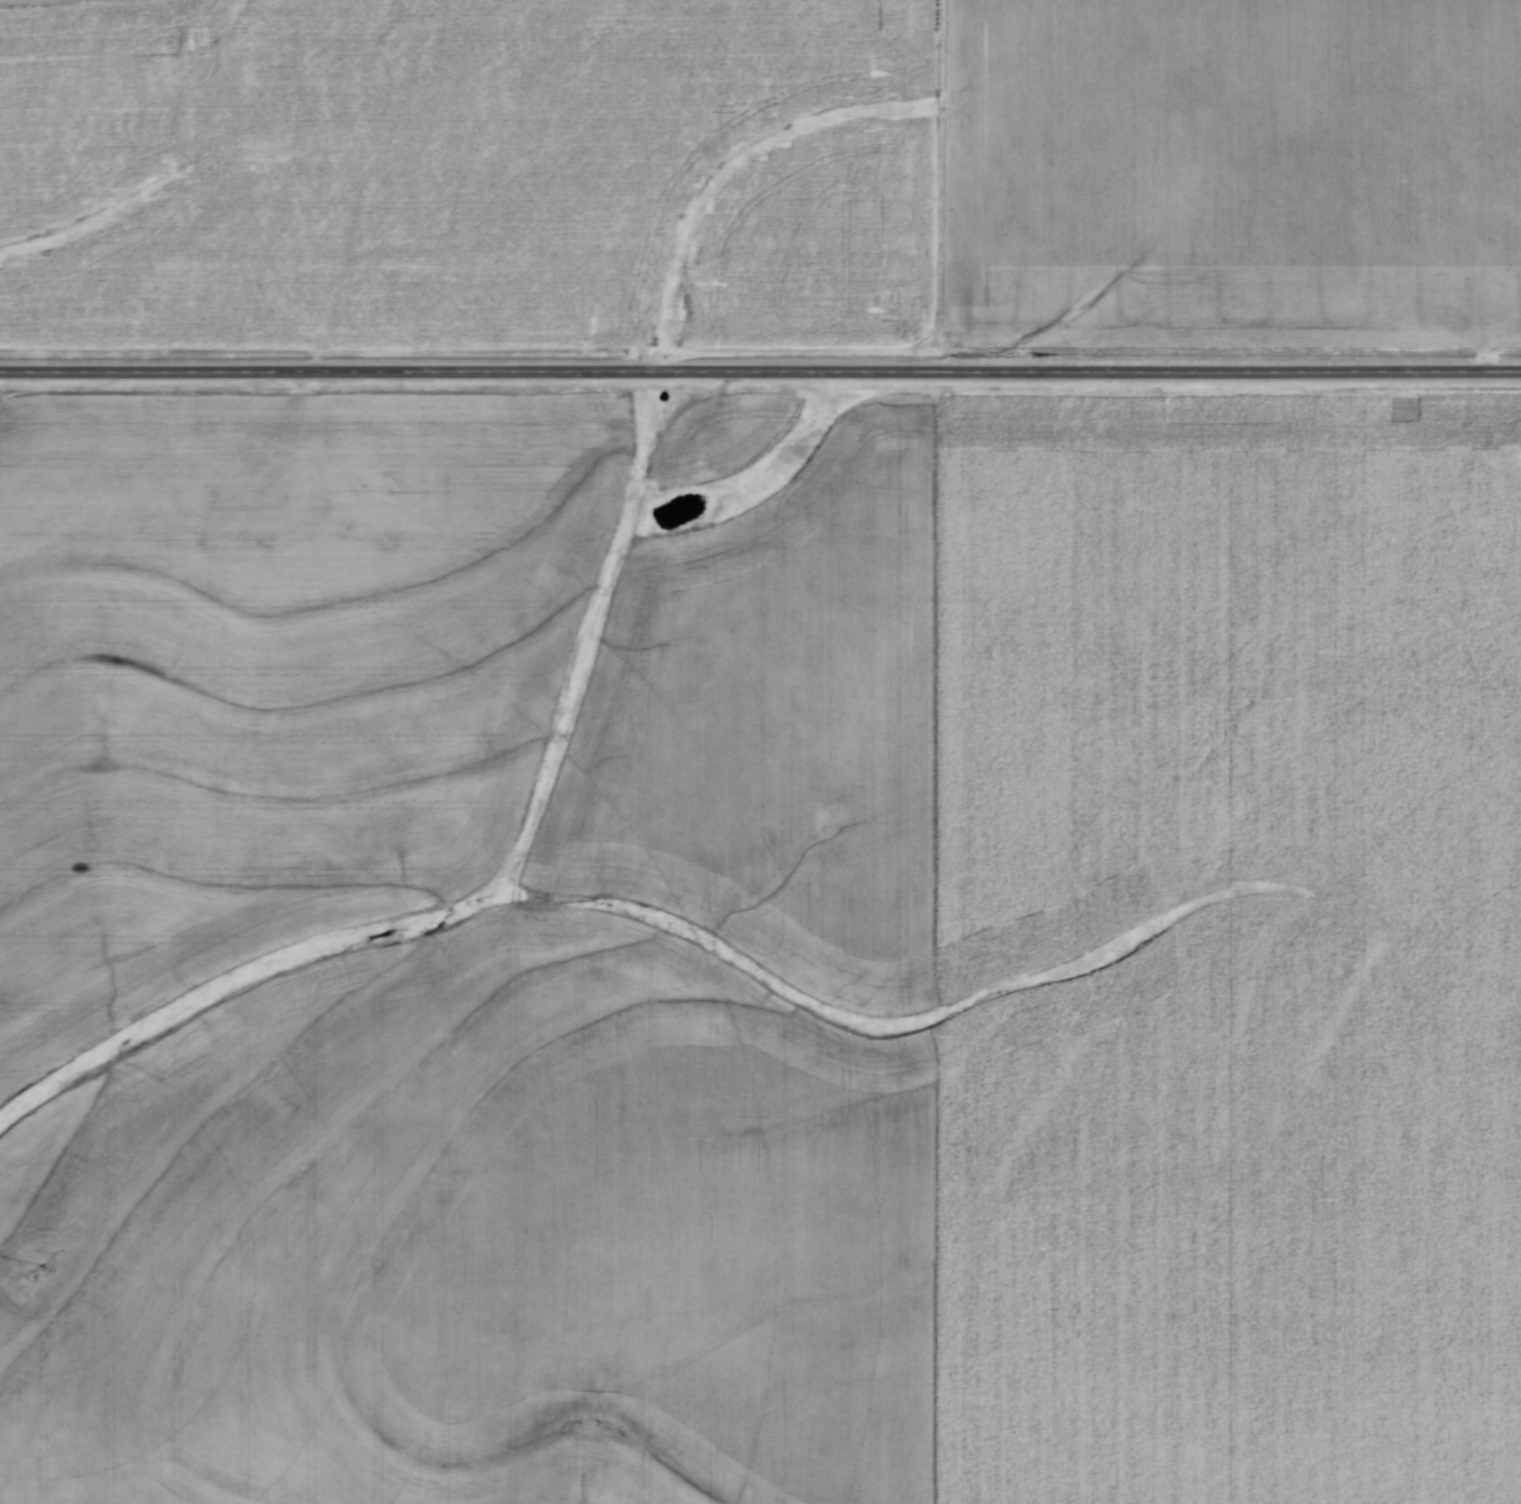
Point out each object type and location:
road: (760, 369)

